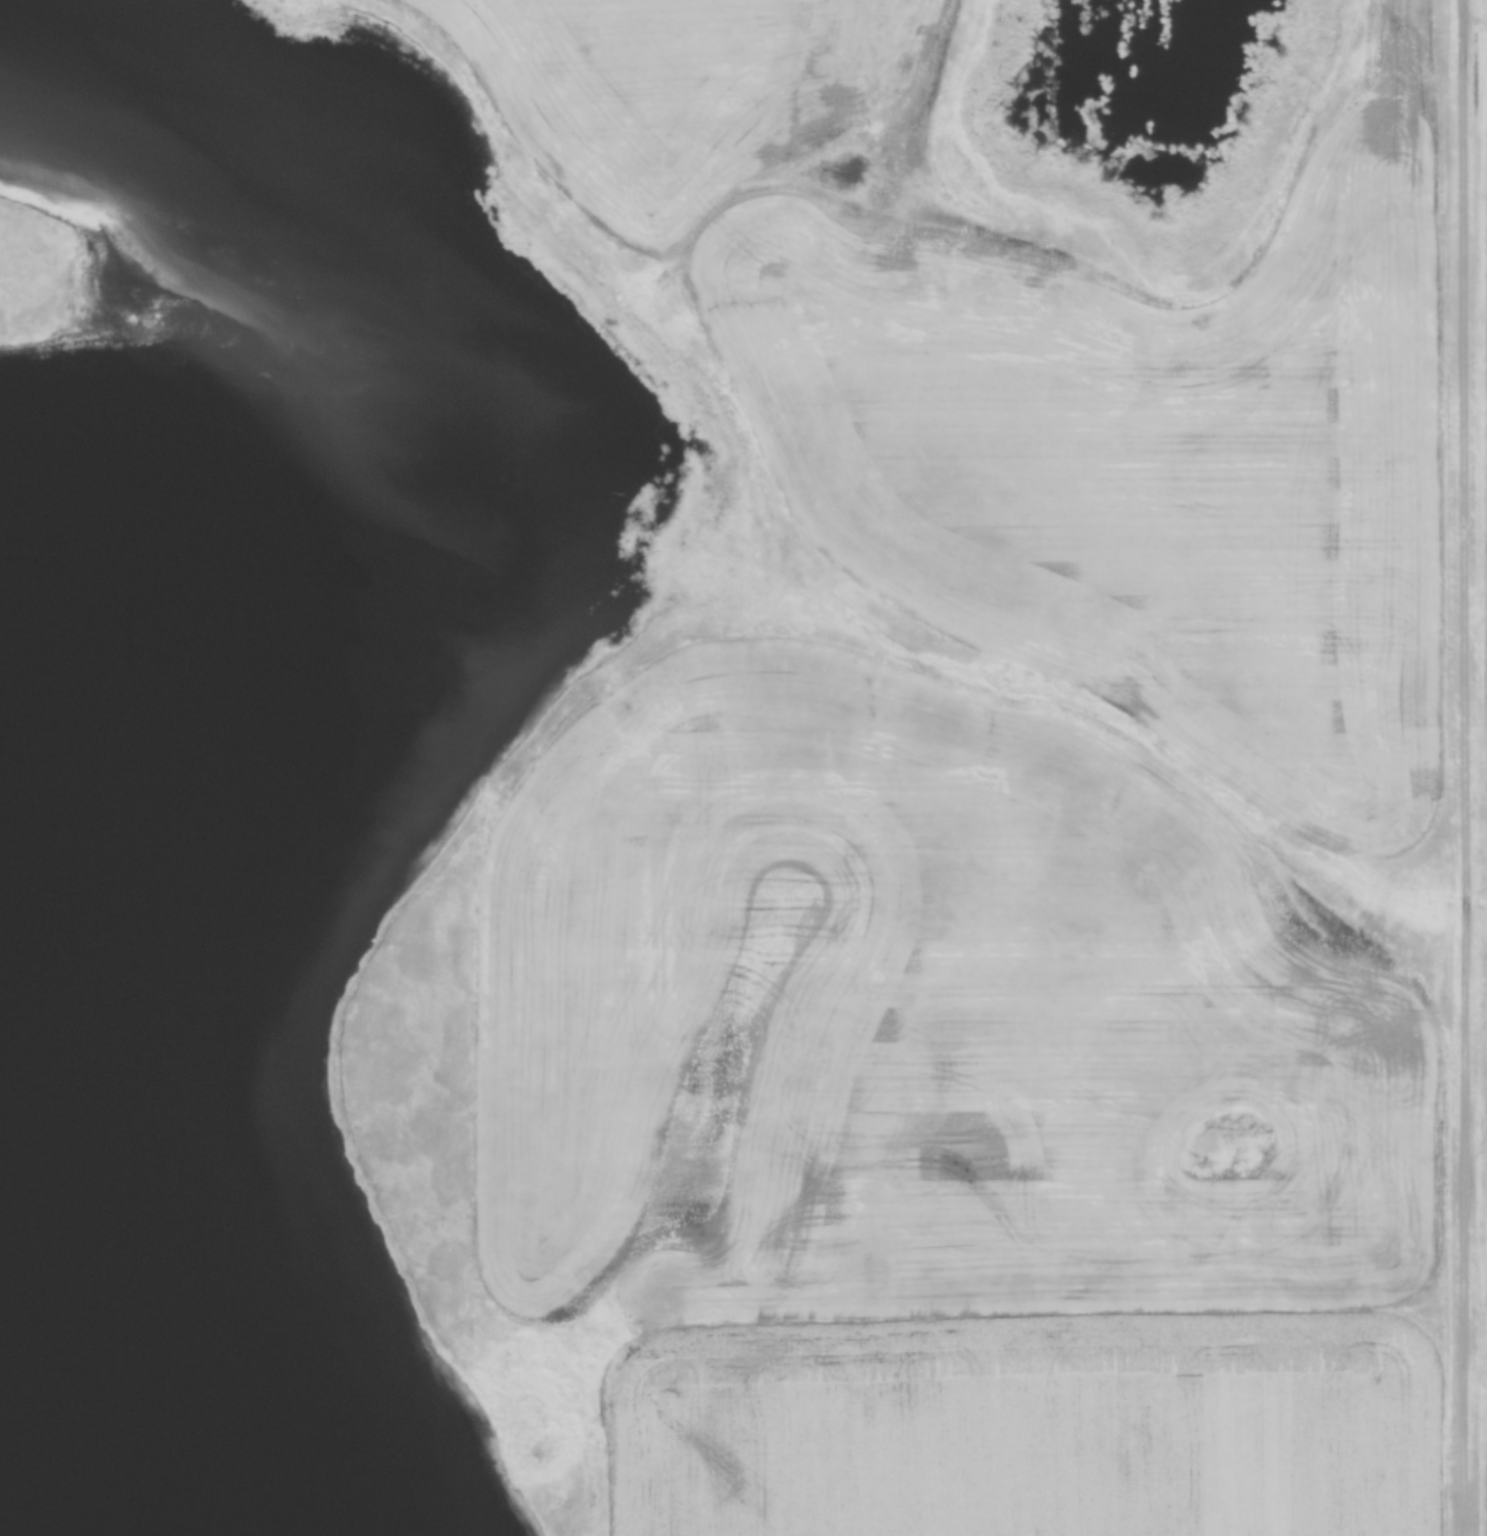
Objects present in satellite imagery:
road: (1468, 768)

